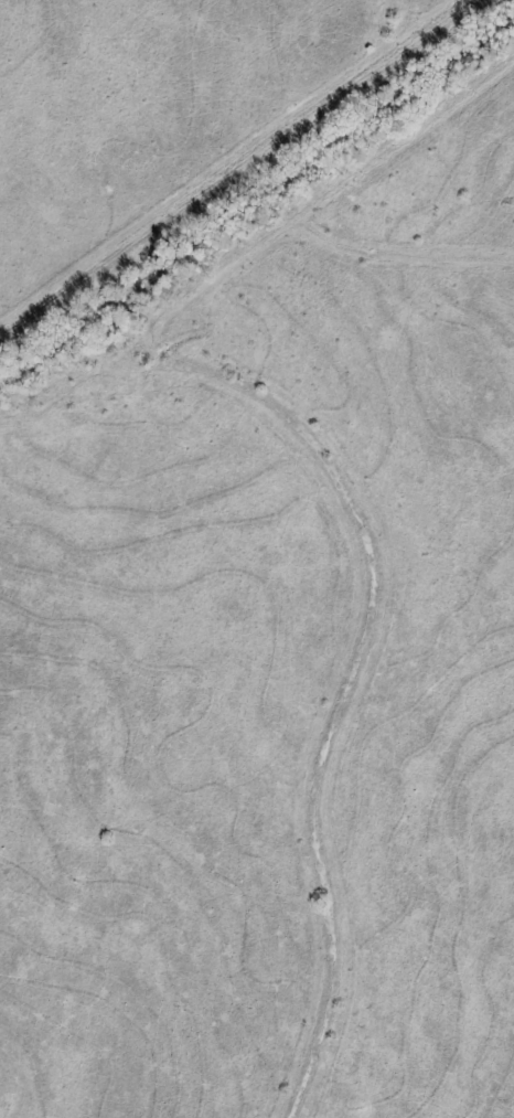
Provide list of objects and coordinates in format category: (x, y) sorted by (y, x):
road: (261, 245)

